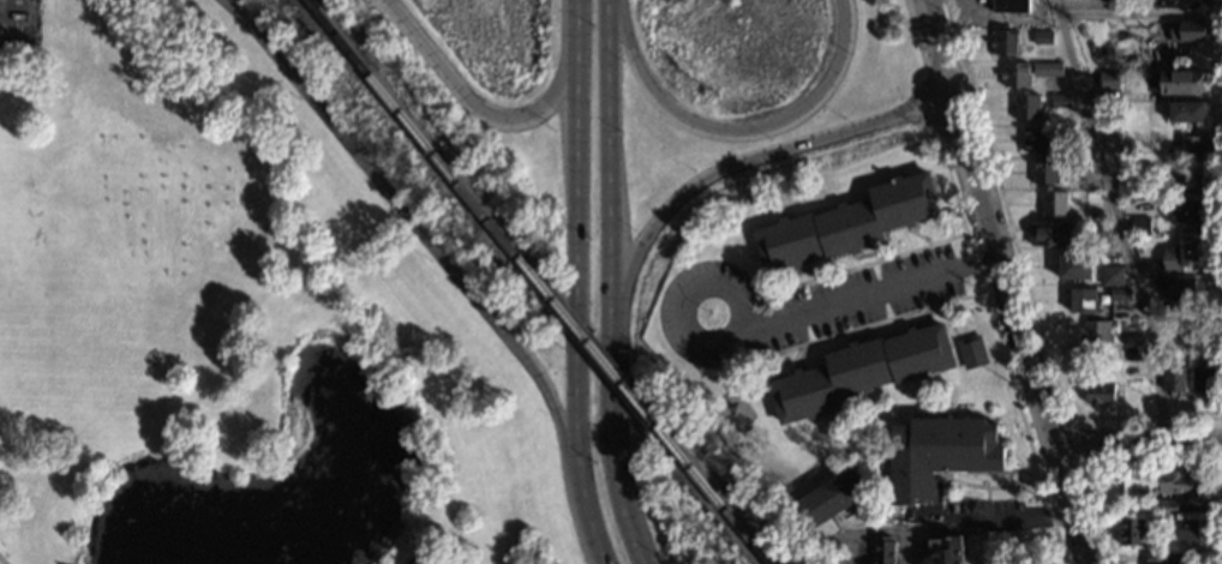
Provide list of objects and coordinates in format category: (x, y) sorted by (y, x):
building: (1172, 4)
building: (1011, 6)
road: (573, 17)
building: (1188, 31)
road: (928, 38)
building: (1006, 42)
building: (1042, 42)
building: (1048, 70)
building: (1016, 74)
building: (1109, 80)
building: (1182, 82)
road: (917, 98)
building: (1060, 101)
building: (1026, 107)
building: (1187, 110)
road: (481, 113)
road: (926, 119)
railway: (418, 130)
road: (736, 132)
building: (1071, 133)
building: (1036, 138)
building: (1113, 140)
building: (1188, 146)
road: (839, 148)
building: (1080, 166)
road: (611, 167)
building: (1046, 172)
road: (709, 178)
building: (1126, 181)
building: (1187, 182)
building: (1054, 203)
building: (1186, 212)
road: (1115, 218)
building: (847, 223)
building: (1140, 227)
road: (424, 234)
building: (1052, 234)
building: (1097, 236)
building: (1181, 256)
road: (871, 265)
building: (1074, 266)
building: (1150, 269)
building: (1113, 276)
building: (763, 288)
building: (1180, 289)
road: (852, 295)
building: (1120, 295)
building: (1083, 300)
road: (576, 301)
road: (1014, 320)
building: (1202, 320)
road: (1038, 322)
park: (230, 324)
road: (865, 329)
building: (1095, 332)
building: (1131, 340)
building: (972, 350)
railway: (599, 353)
building: (861, 371)
building: (1174, 378)
building: (1203, 379)
building: (1100, 392)
road: (1067, 420)
road: (1138, 440)
road: (1221, 442)
road: (617, 451)
building: (940, 455)
road: (1100, 464)
building: (1178, 481)
building: (828, 499)
railway: (723, 504)
building: (1168, 508)
road: (1007, 518)
building: (1188, 529)
building: (1131, 532)
road: (879, 533)
building: (885, 550)
building: (946, 551)
building: (1150, 558)
building: (1170, 558)
road: (4, 559)

